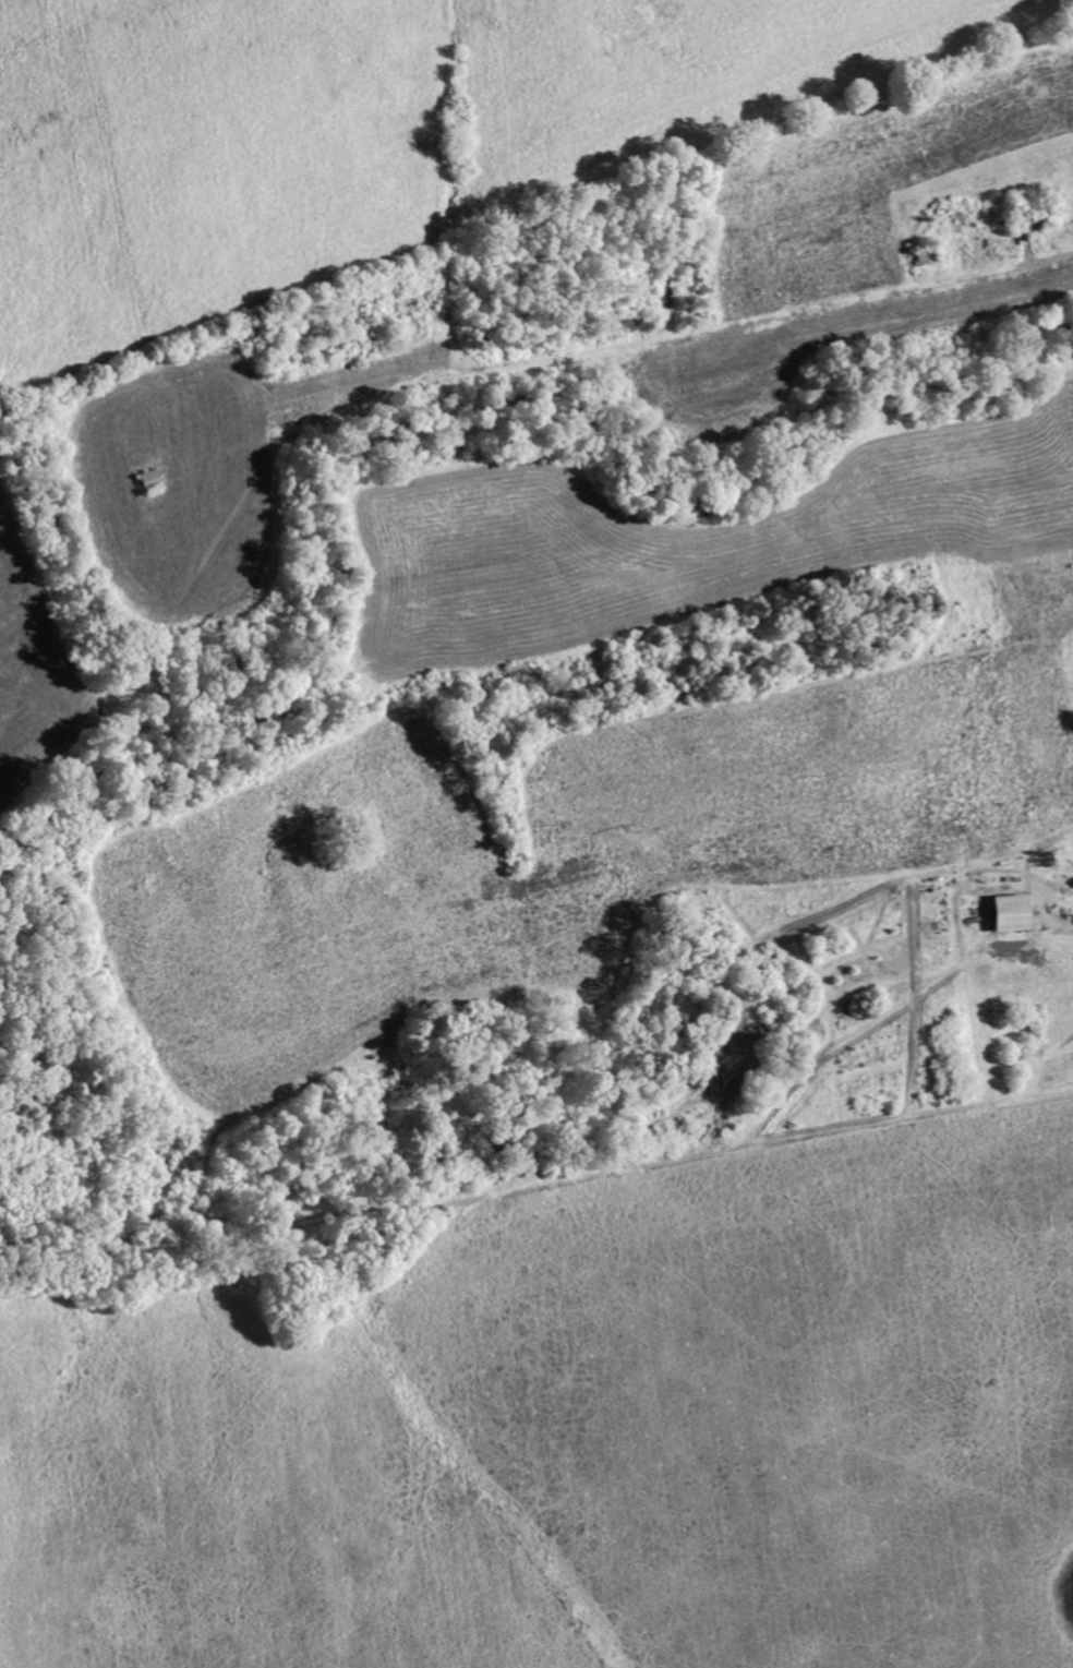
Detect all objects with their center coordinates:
building: (1005, 913)

